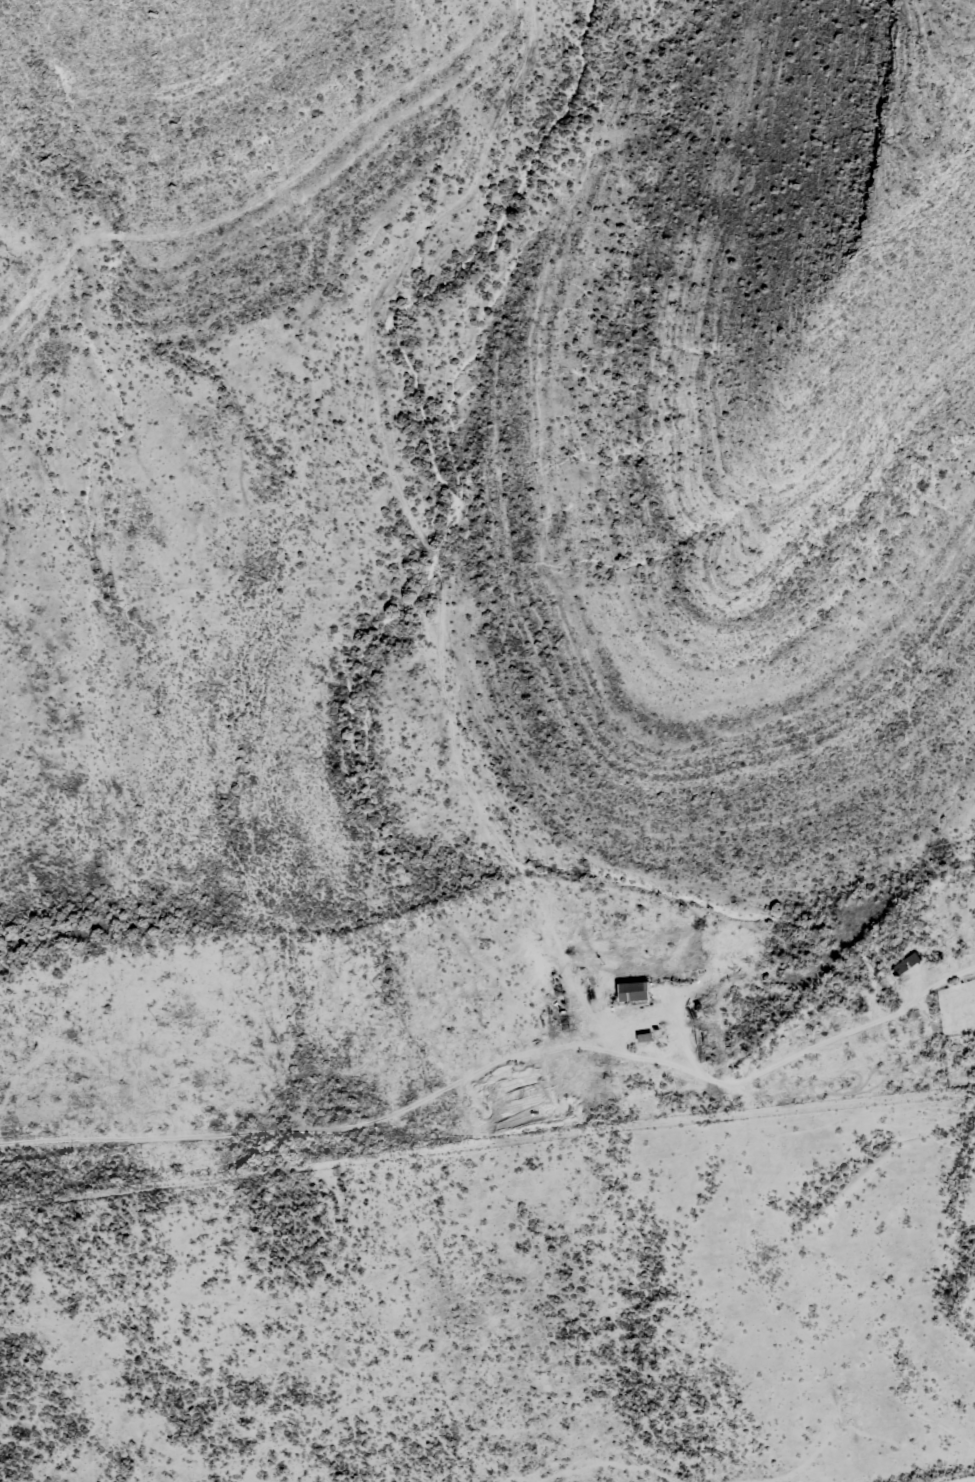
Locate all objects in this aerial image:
building: (905, 961)
building: (630, 989)

